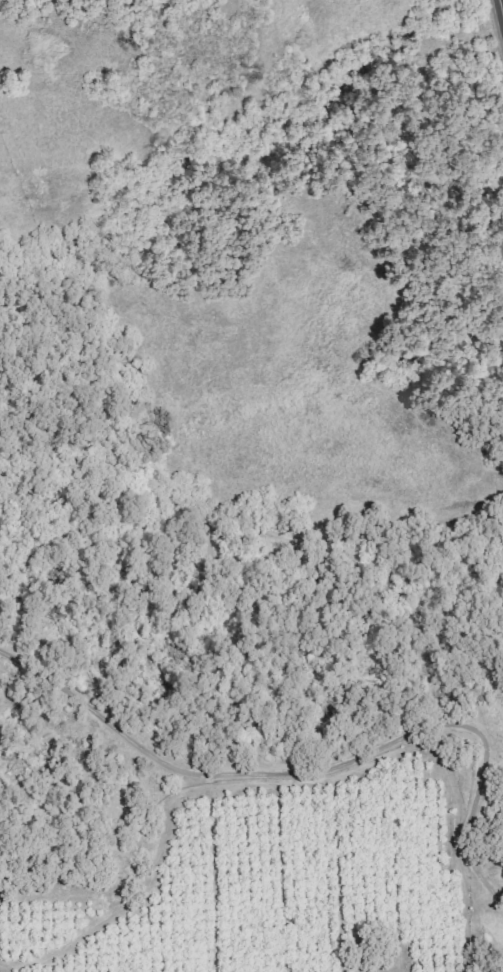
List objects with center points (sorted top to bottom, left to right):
road: (502, 1)
road: (183, 790)

